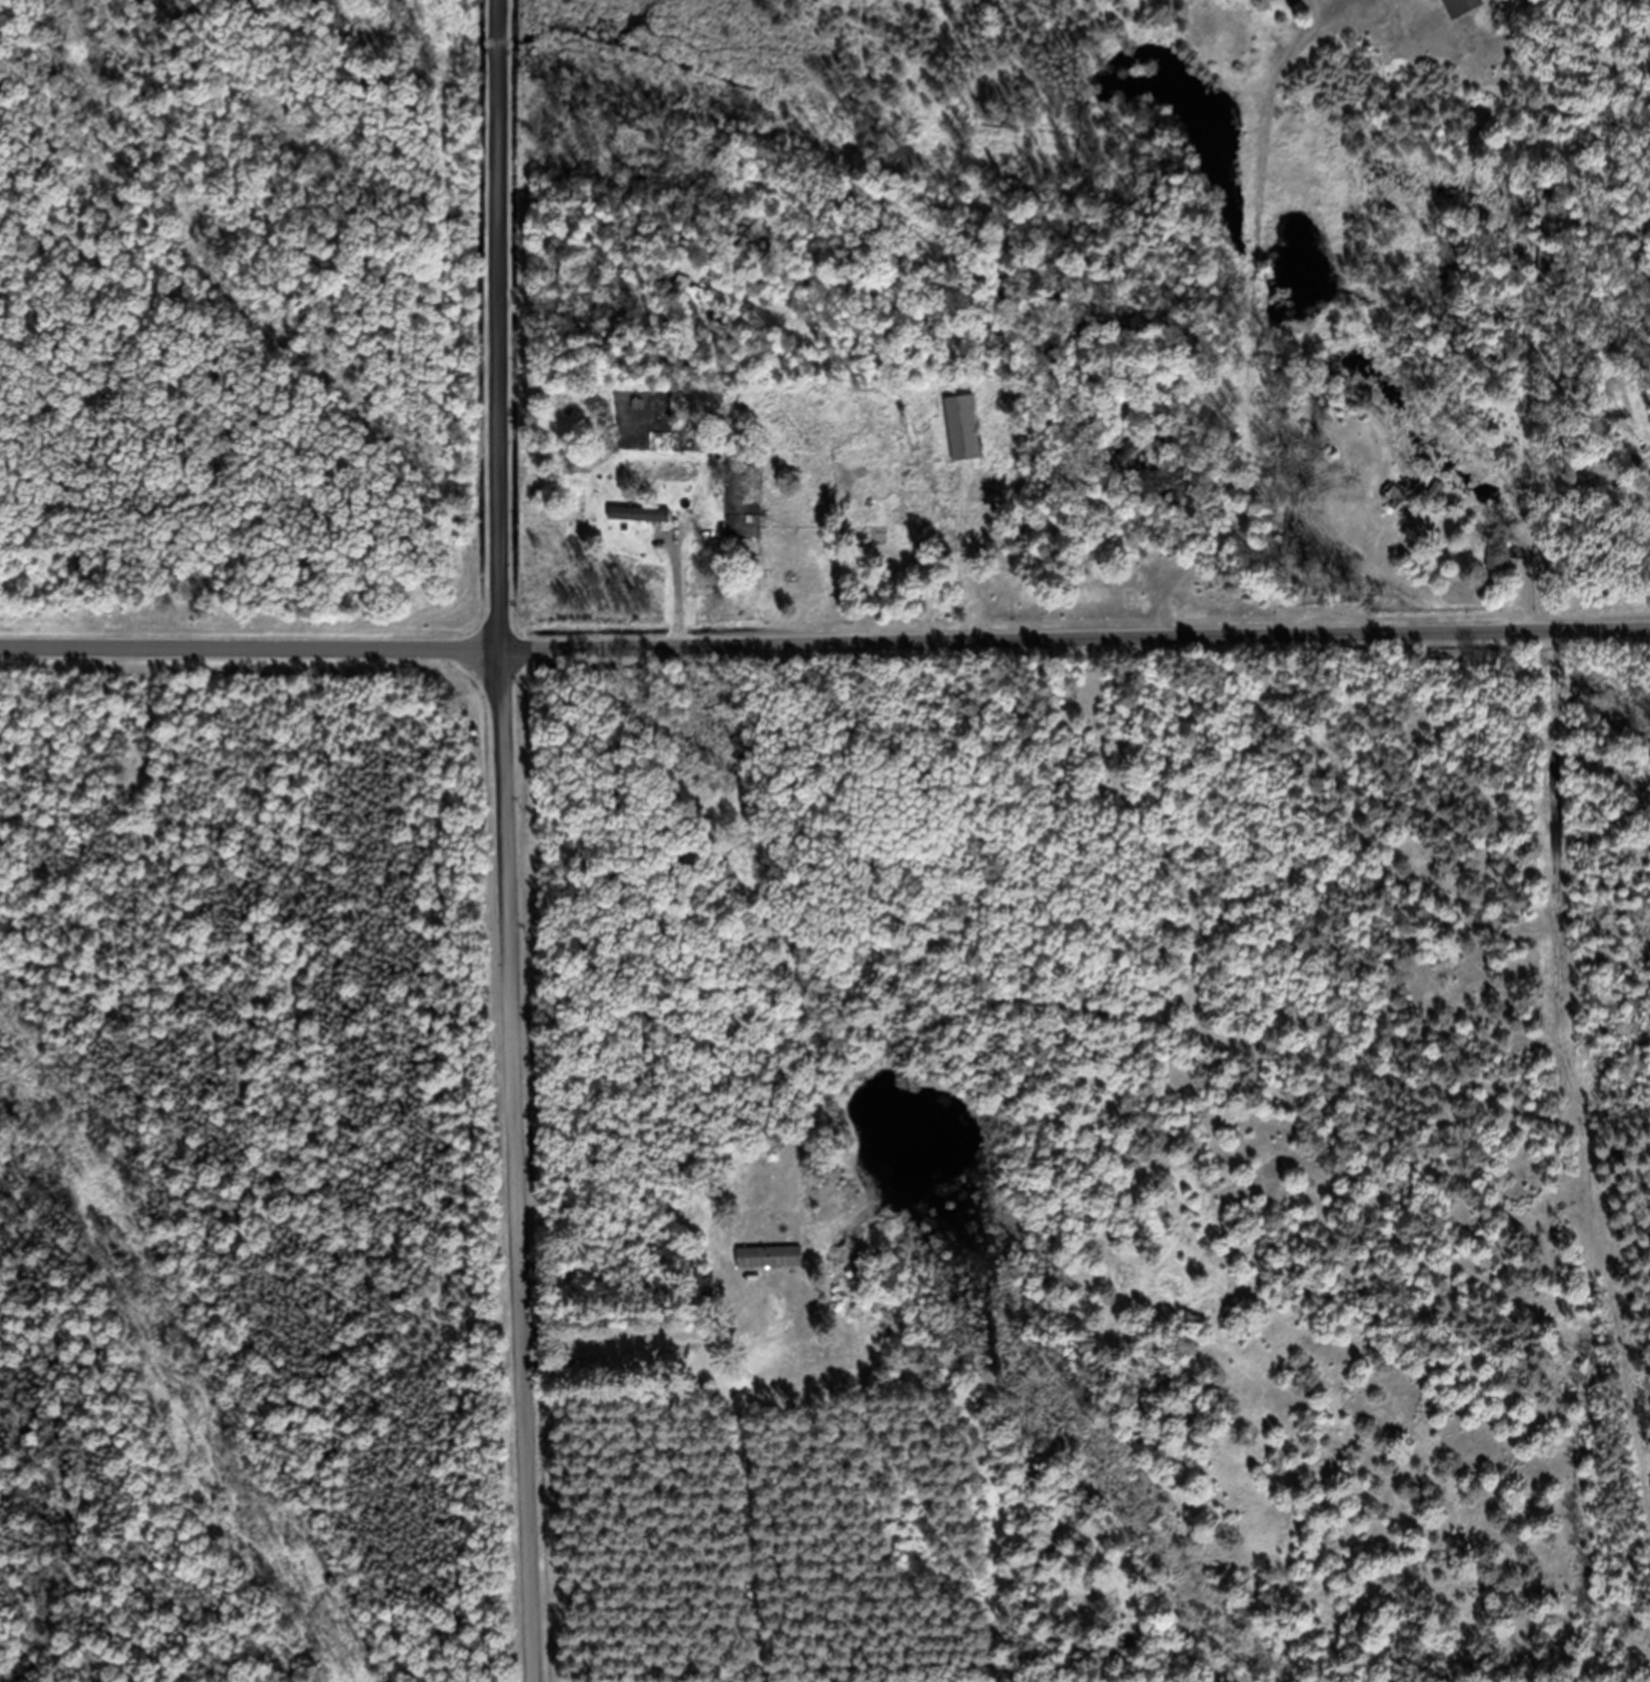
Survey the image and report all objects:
building: (1464, 13)
road: (1318, 383)
building: (964, 442)
building: (1438, 504)
building: (1395, 509)
building: (639, 527)
building: (898, 550)
building: (1500, 571)
road: (1075, 637)
road: (251, 661)
road: (507, 841)
airport: (255, 1181)
building: (770, 1269)

